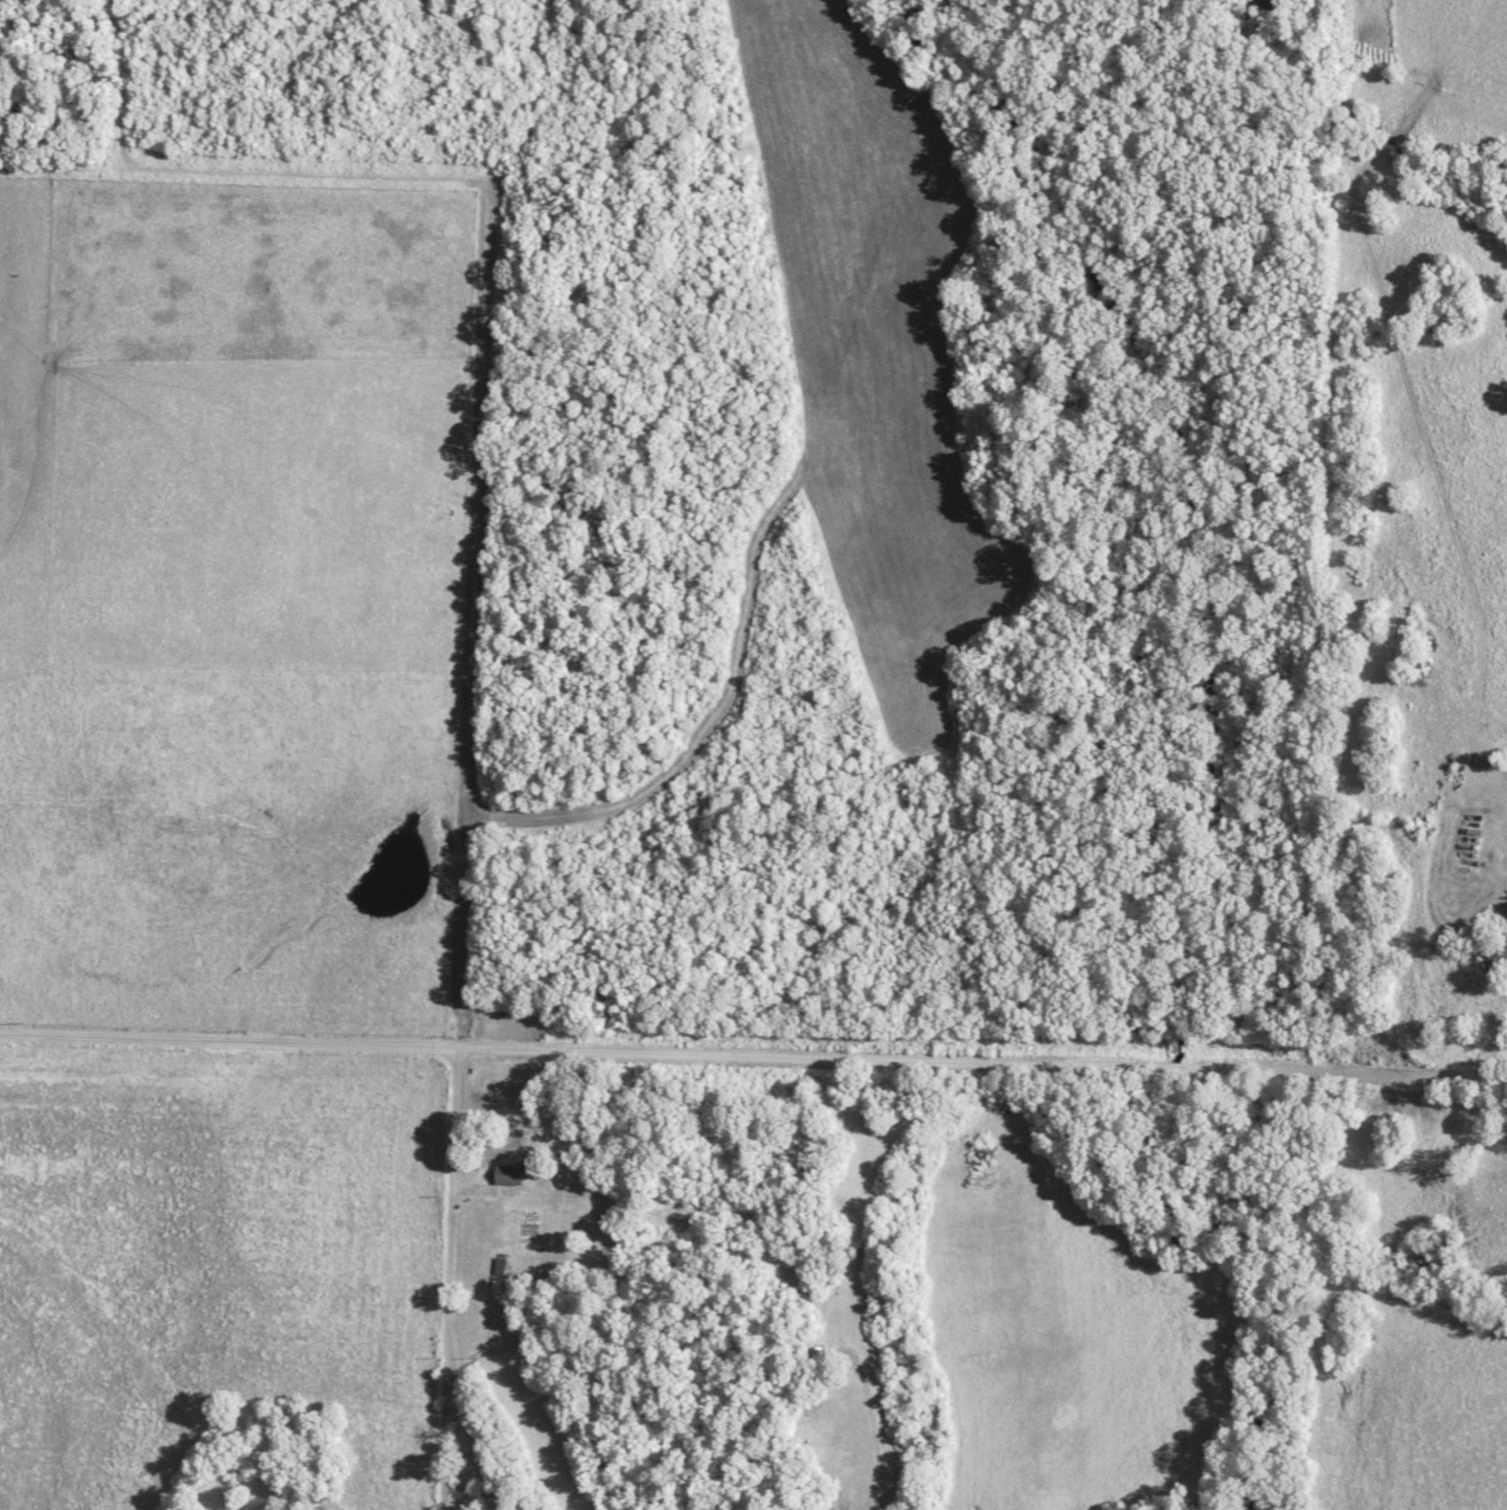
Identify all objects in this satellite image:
road: (1309, 637)
building: (1495, 950)
road: (753, 1065)
building: (506, 1174)
road: (448, 1285)
building: (817, 1354)
road: (869, 1428)

